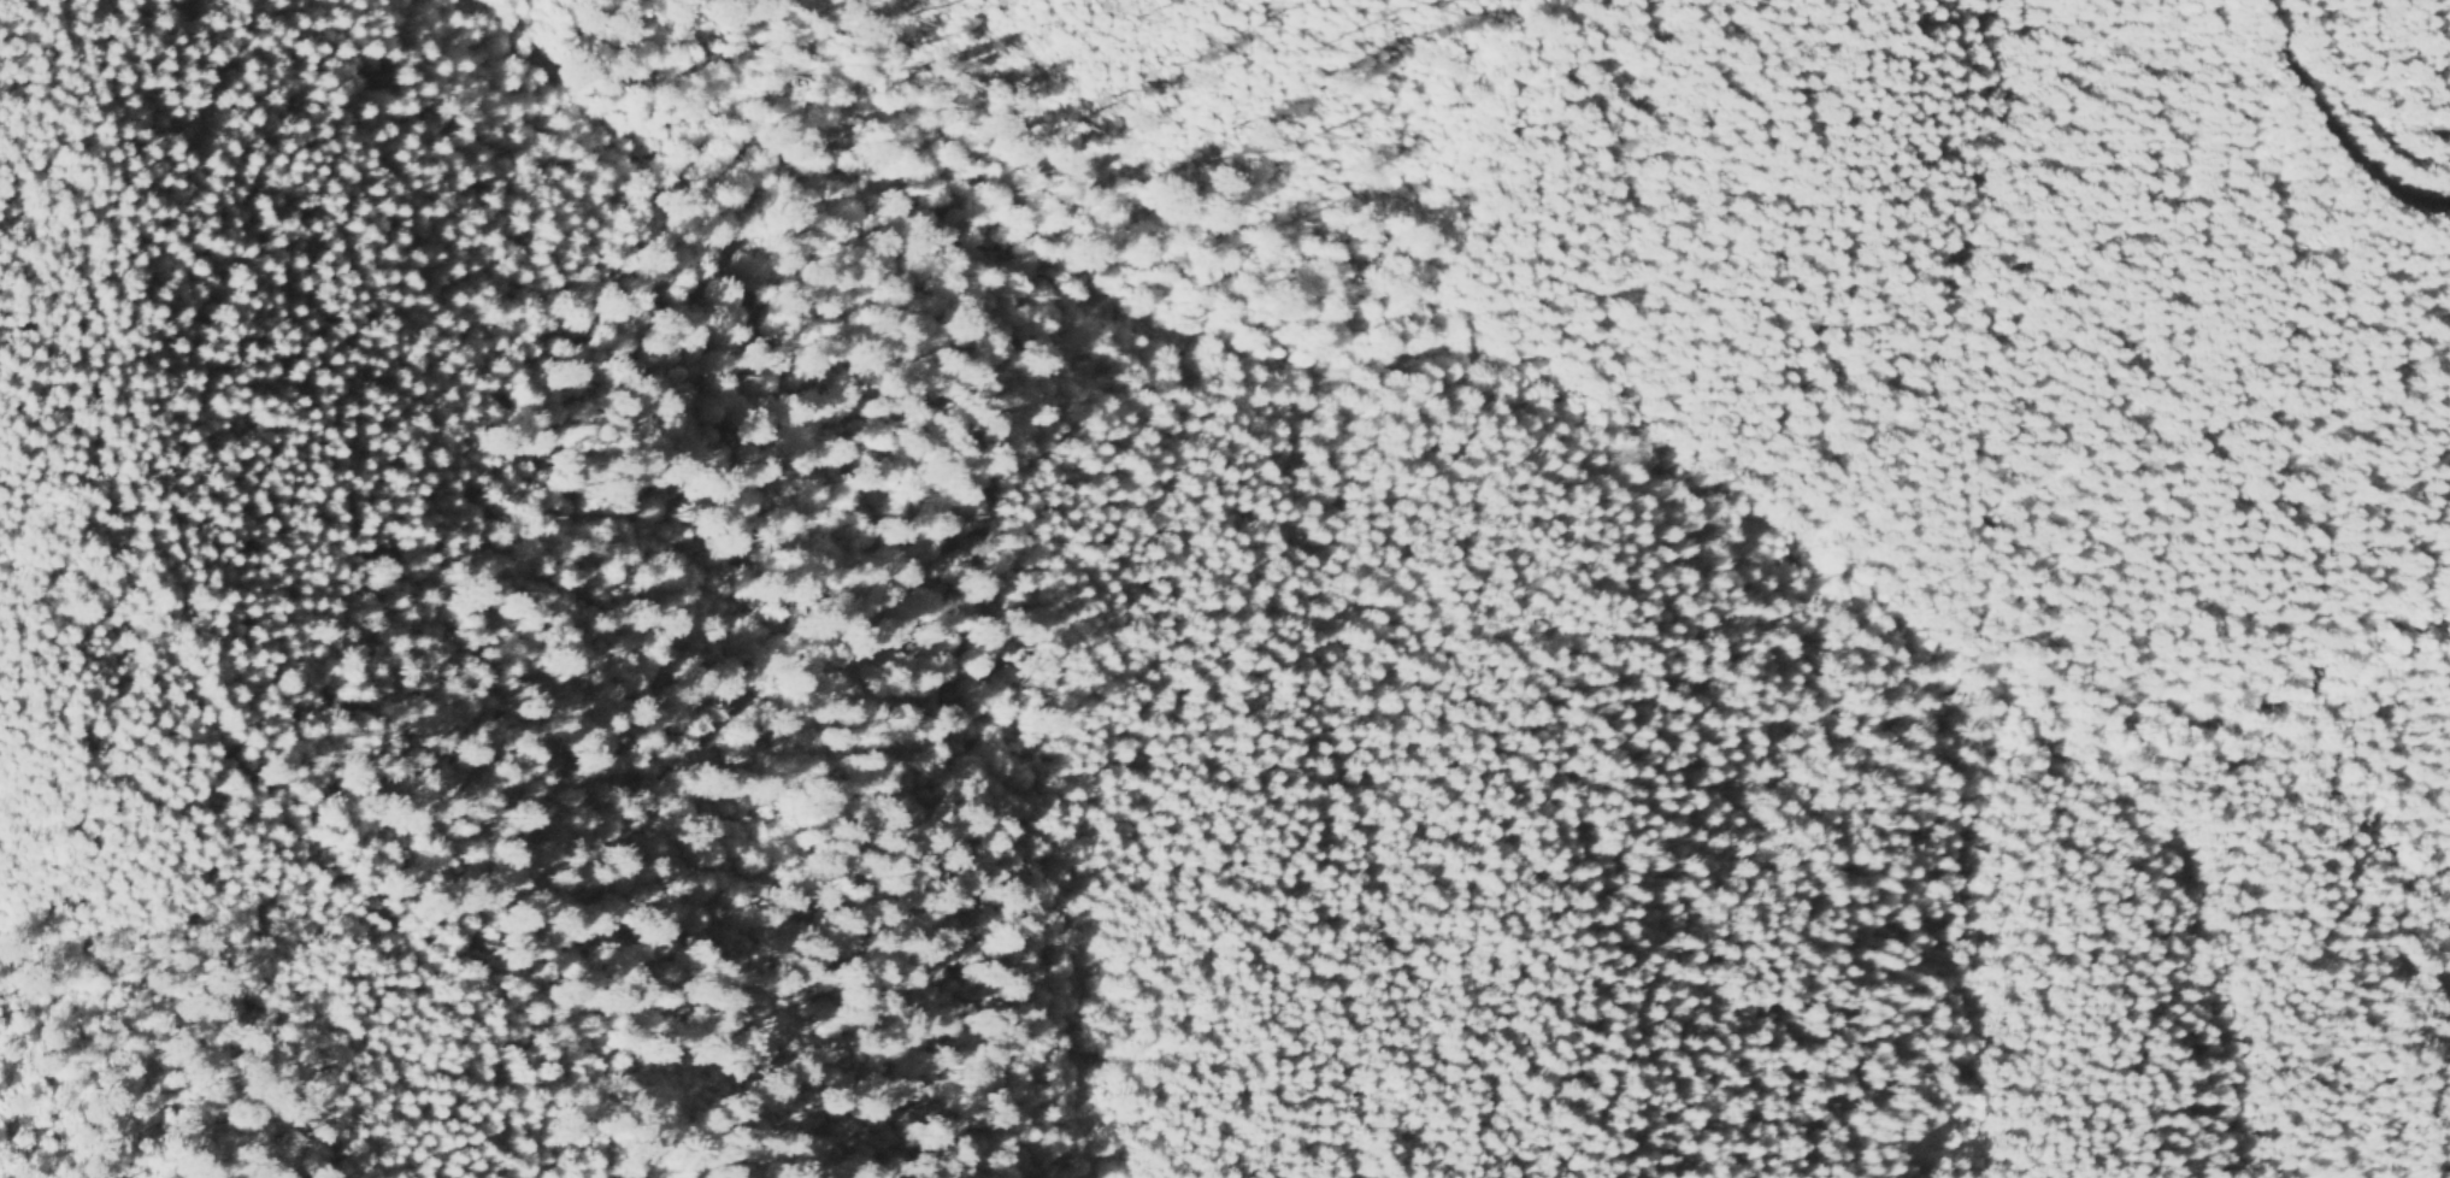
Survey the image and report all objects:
road: (2321, 135)

